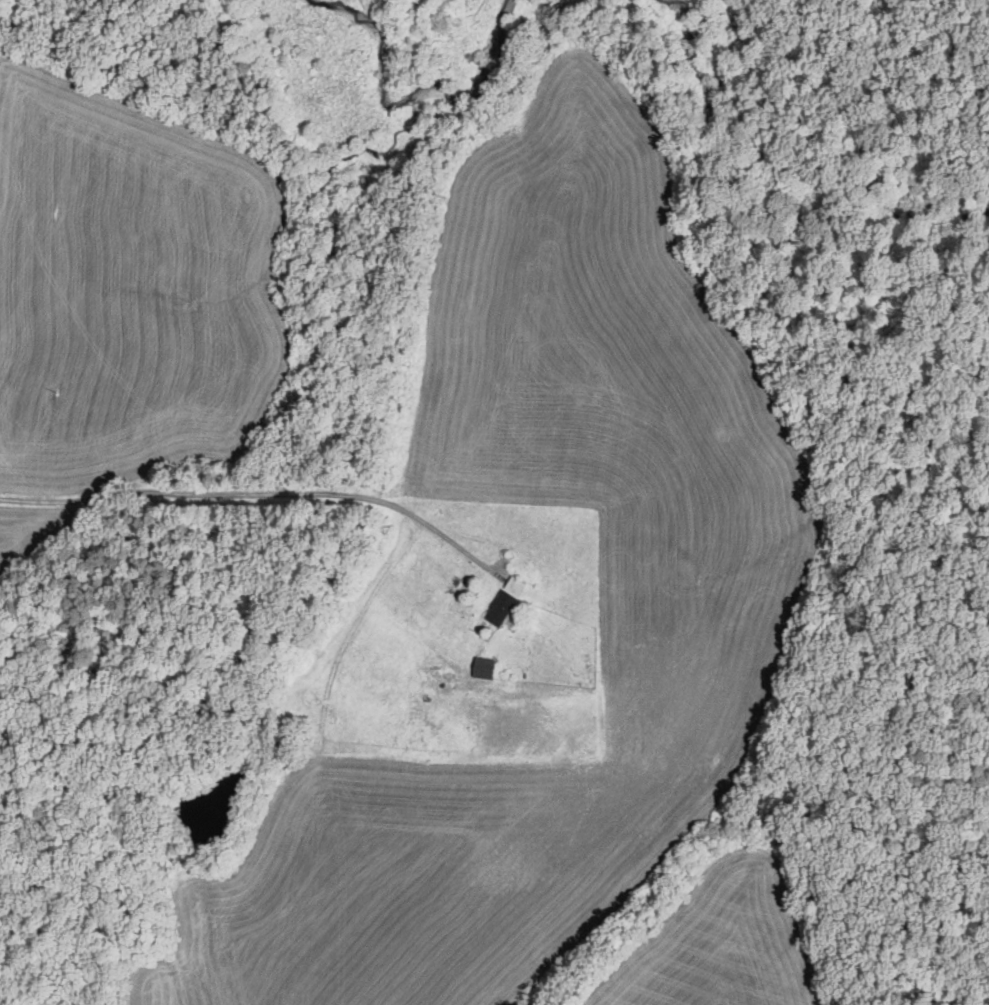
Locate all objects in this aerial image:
river: (351, 18)
river: (500, 51)
river: (702, 90)
river: (871, 202)
road: (184, 494)
road: (437, 530)
building: (504, 601)
building: (486, 665)

